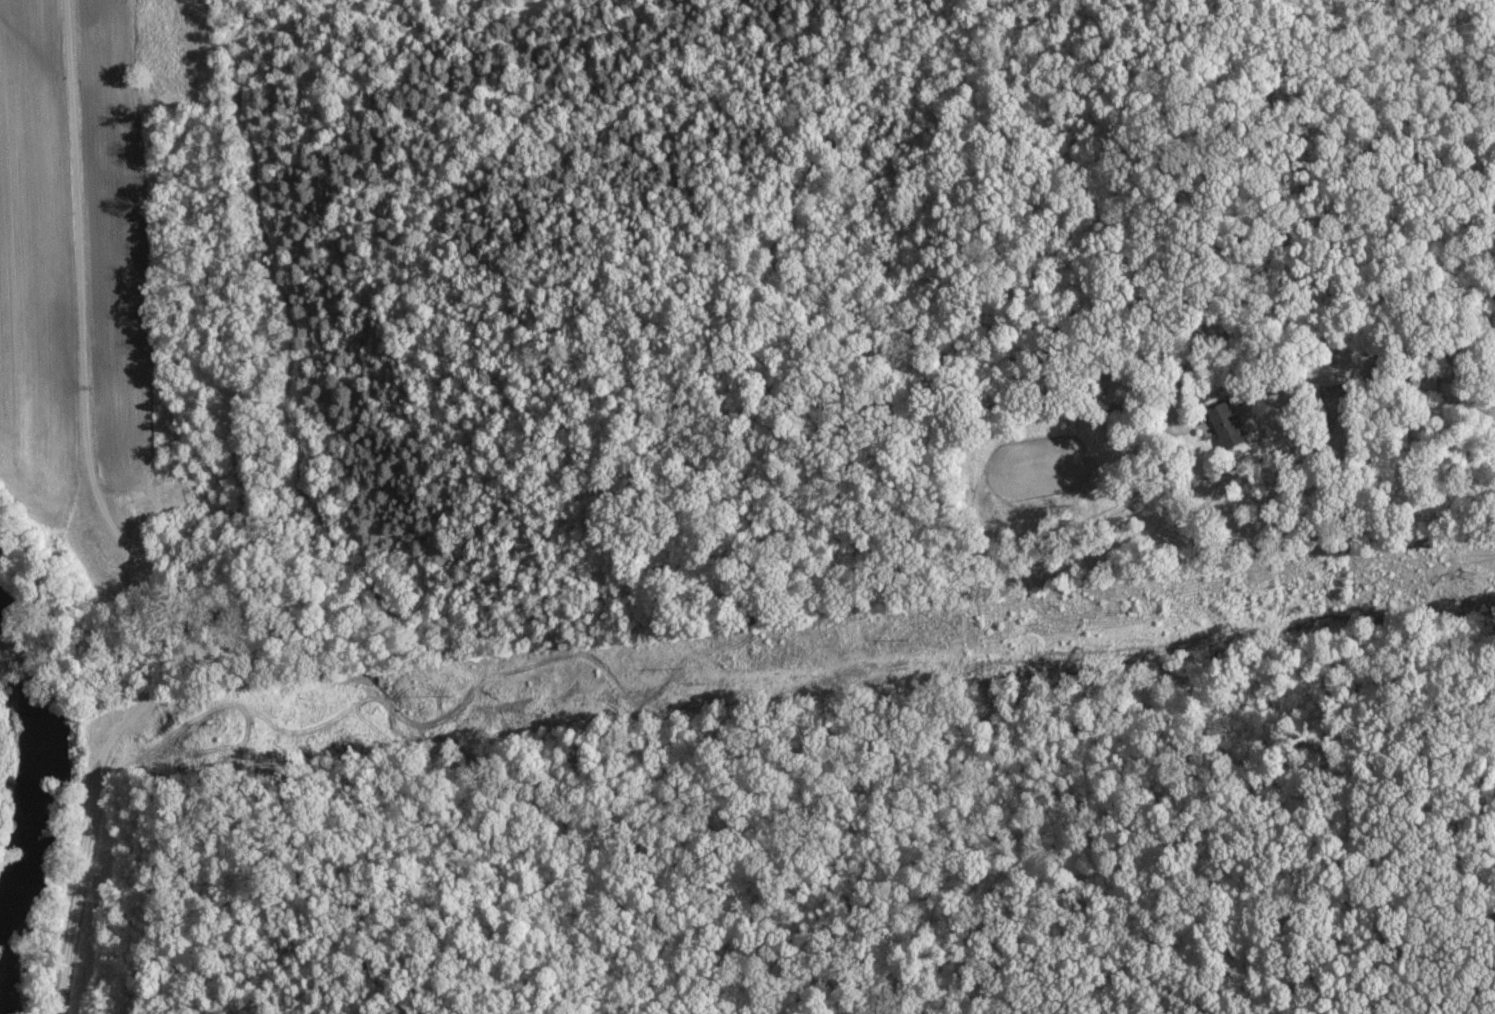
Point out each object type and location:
road: (1424, 350)
building: (1220, 422)

